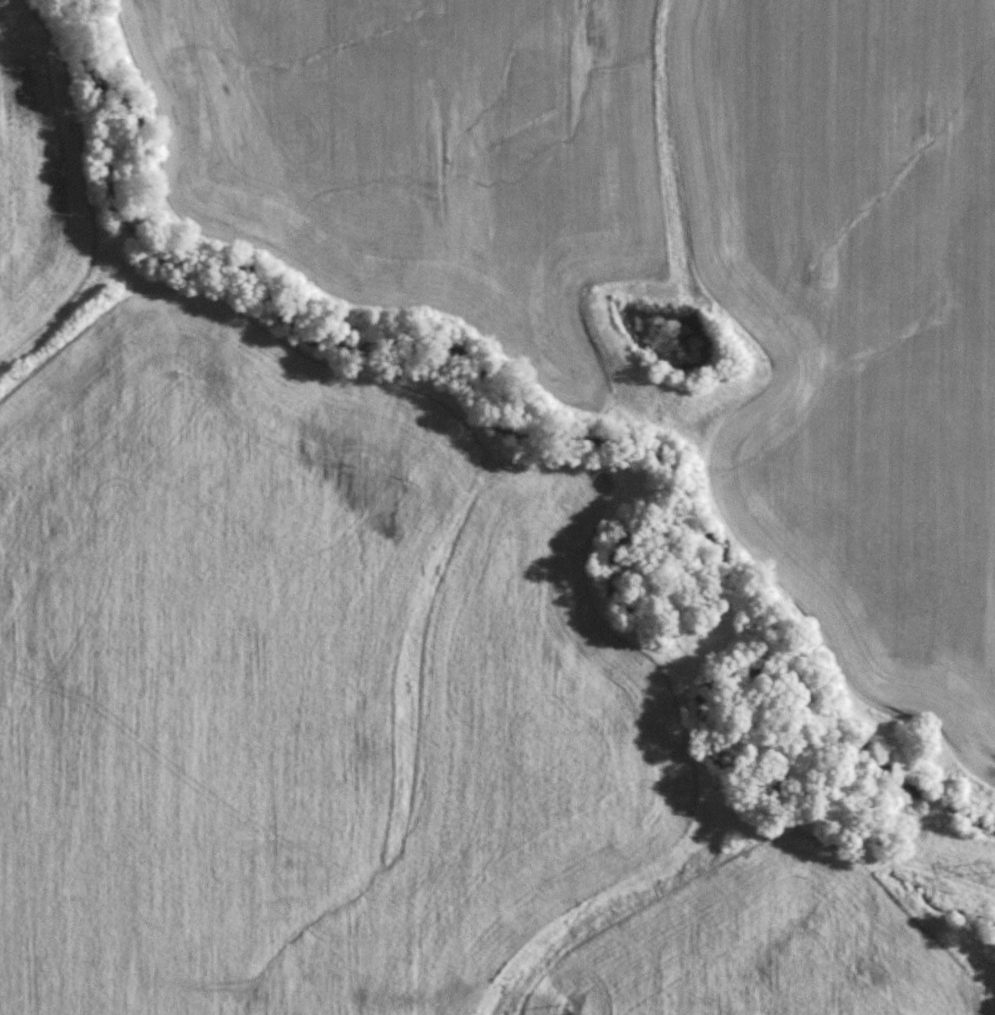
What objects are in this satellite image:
power tower: (986, 854)
power tower: (570, 1005)

